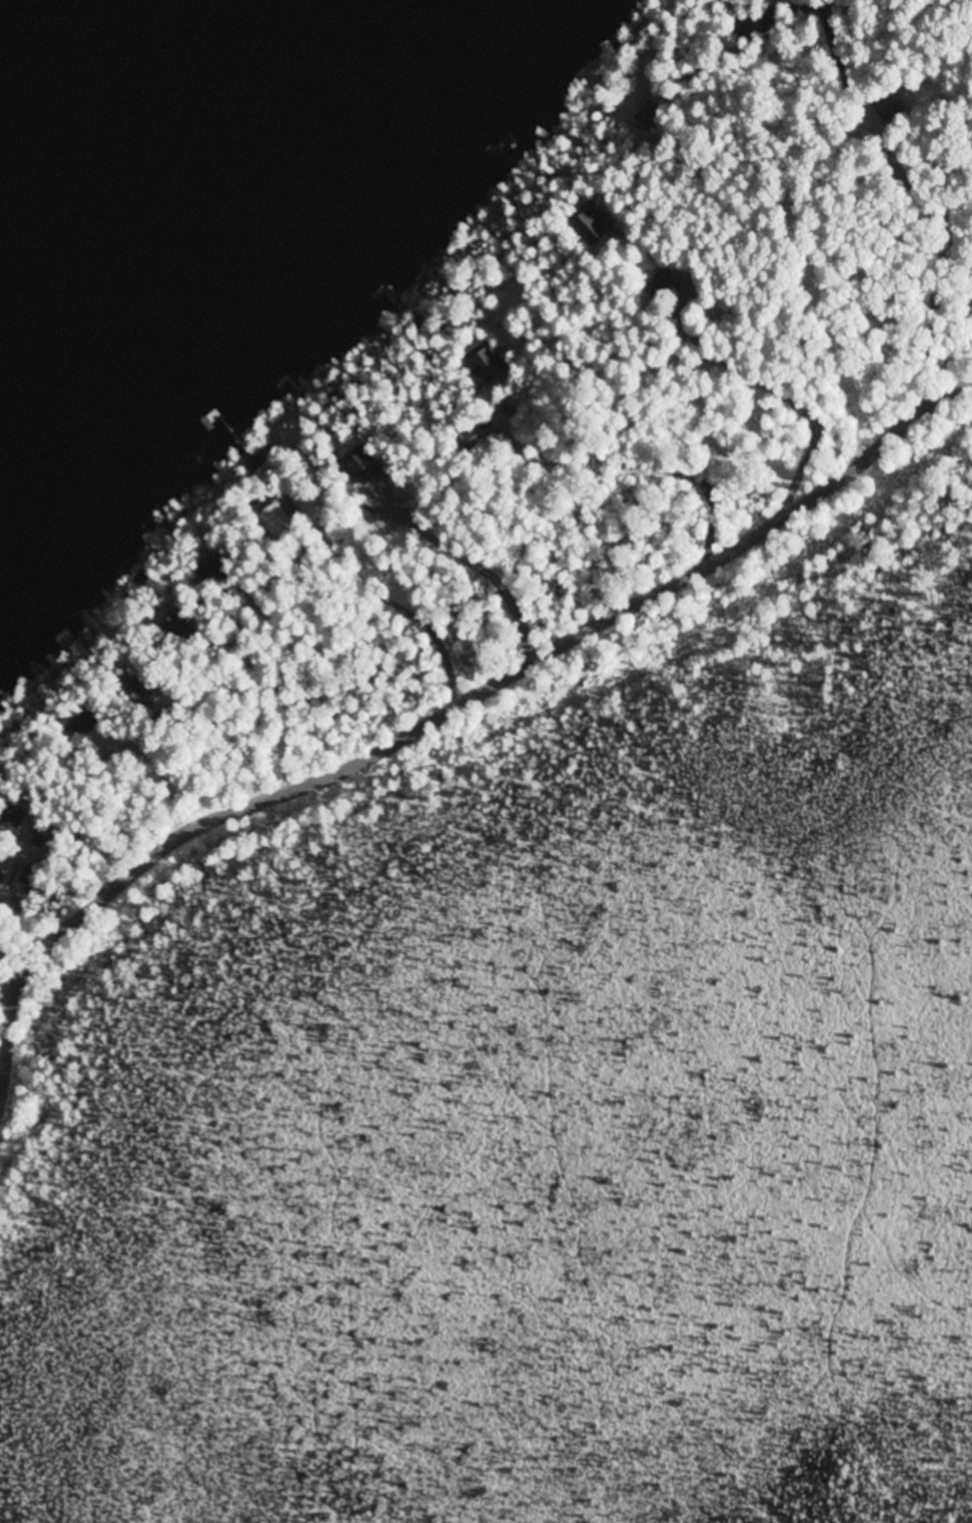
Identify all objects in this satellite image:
road: (435, 714)
building: (74, 736)

